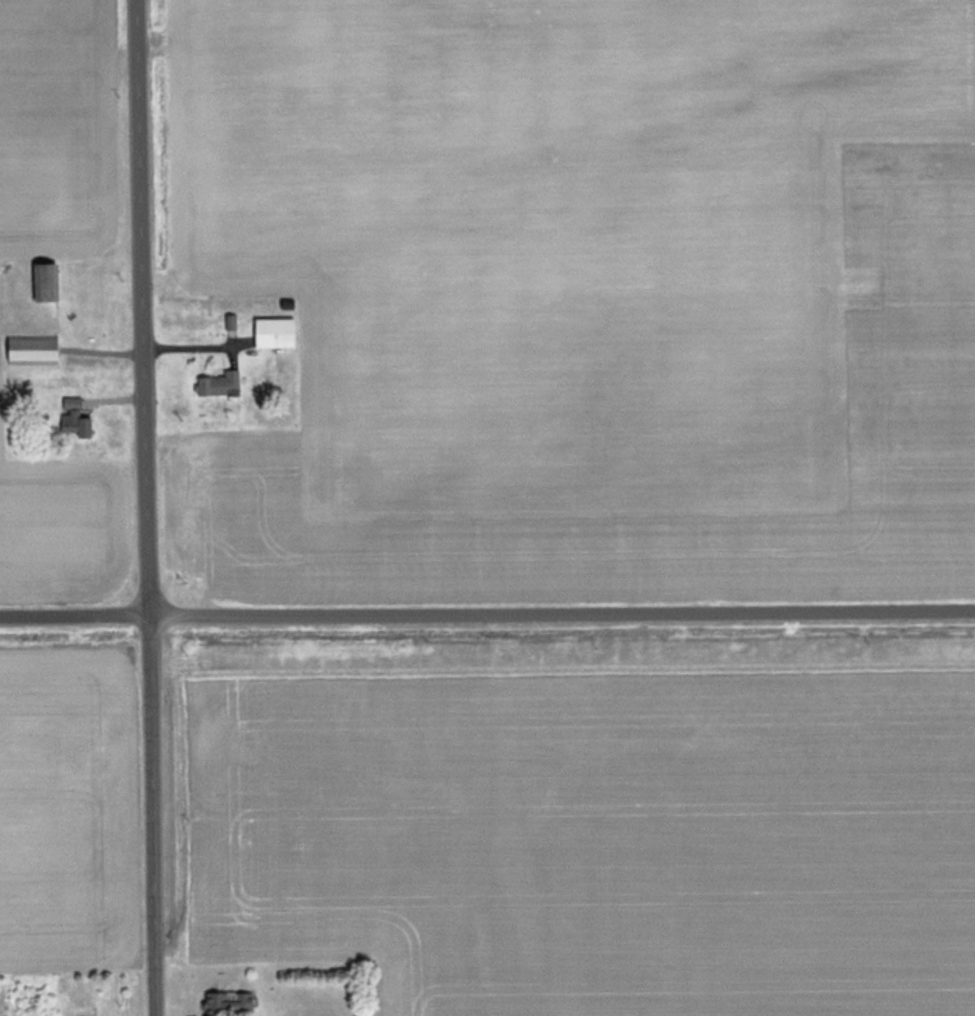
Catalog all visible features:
building: (47, 281)
building: (275, 332)
building: (33, 348)
building: (219, 382)
building: (77, 417)
road: (154, 507)
road: (487, 611)
building: (229, 1002)

